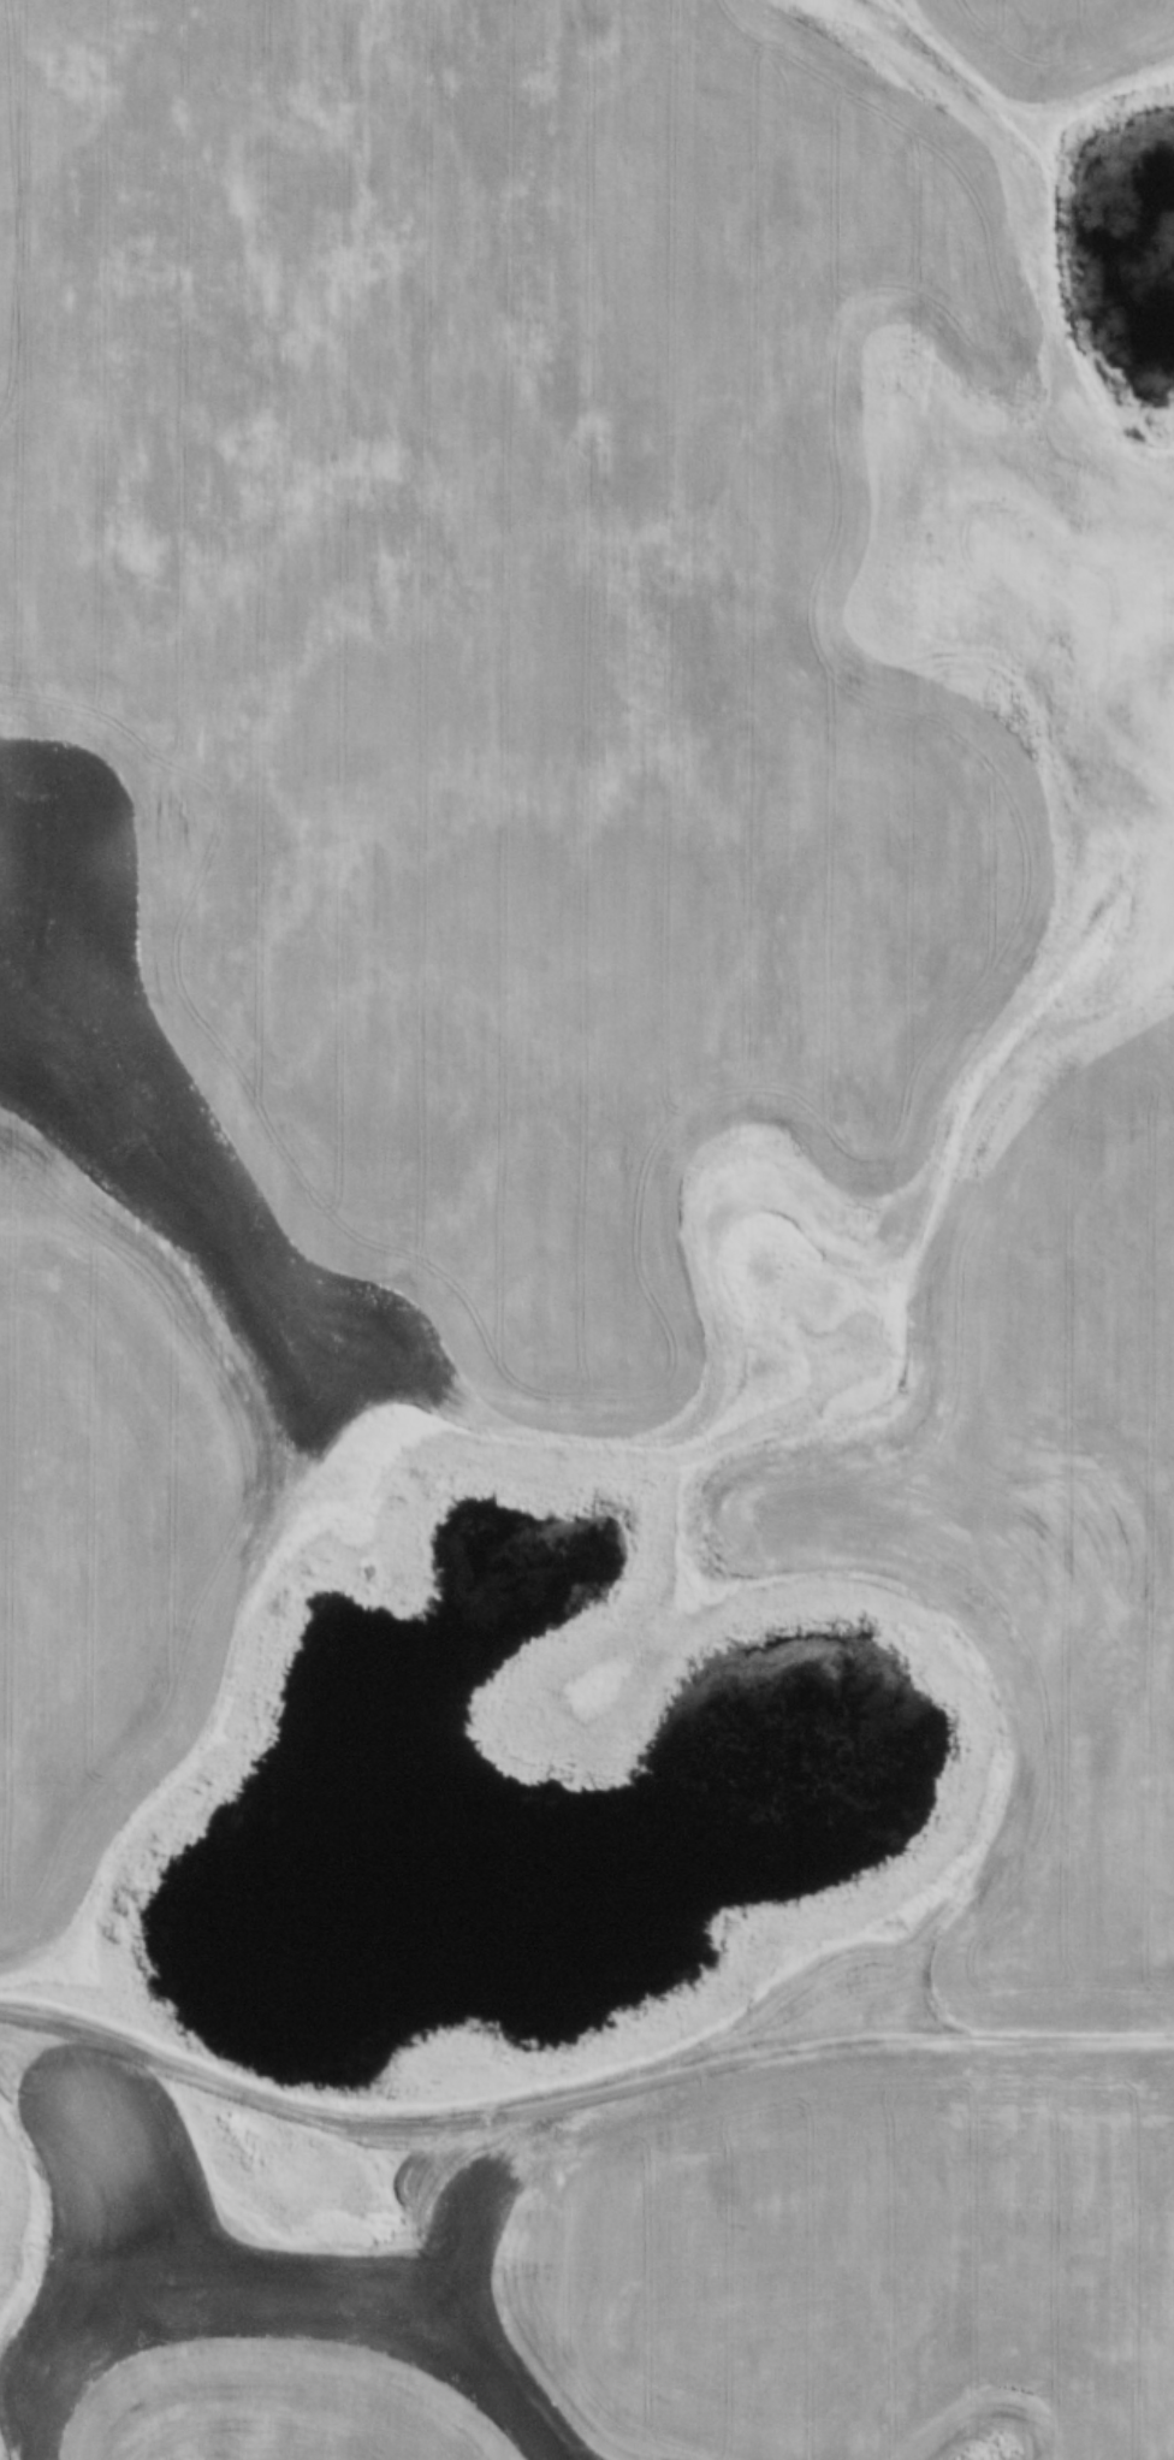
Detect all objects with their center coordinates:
road: (580, 2097)

